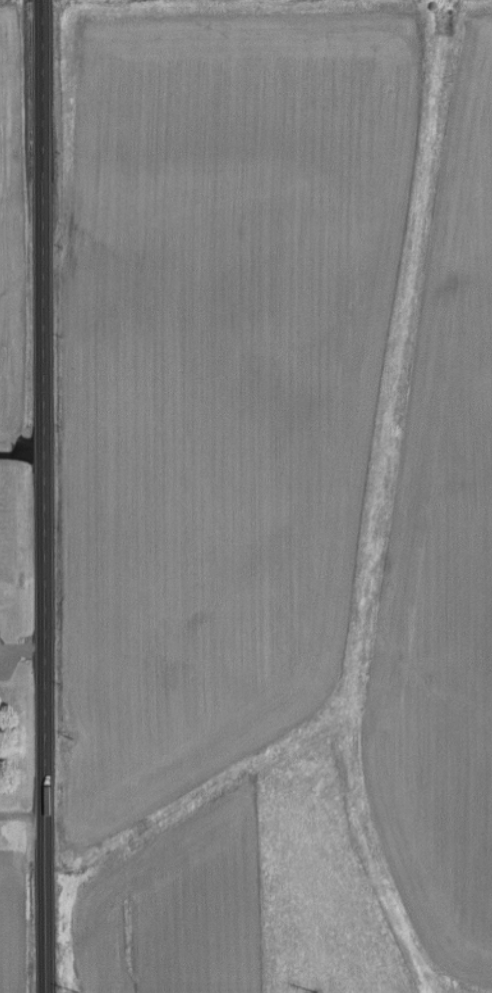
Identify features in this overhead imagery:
road: (23, 456)
road: (46, 496)

